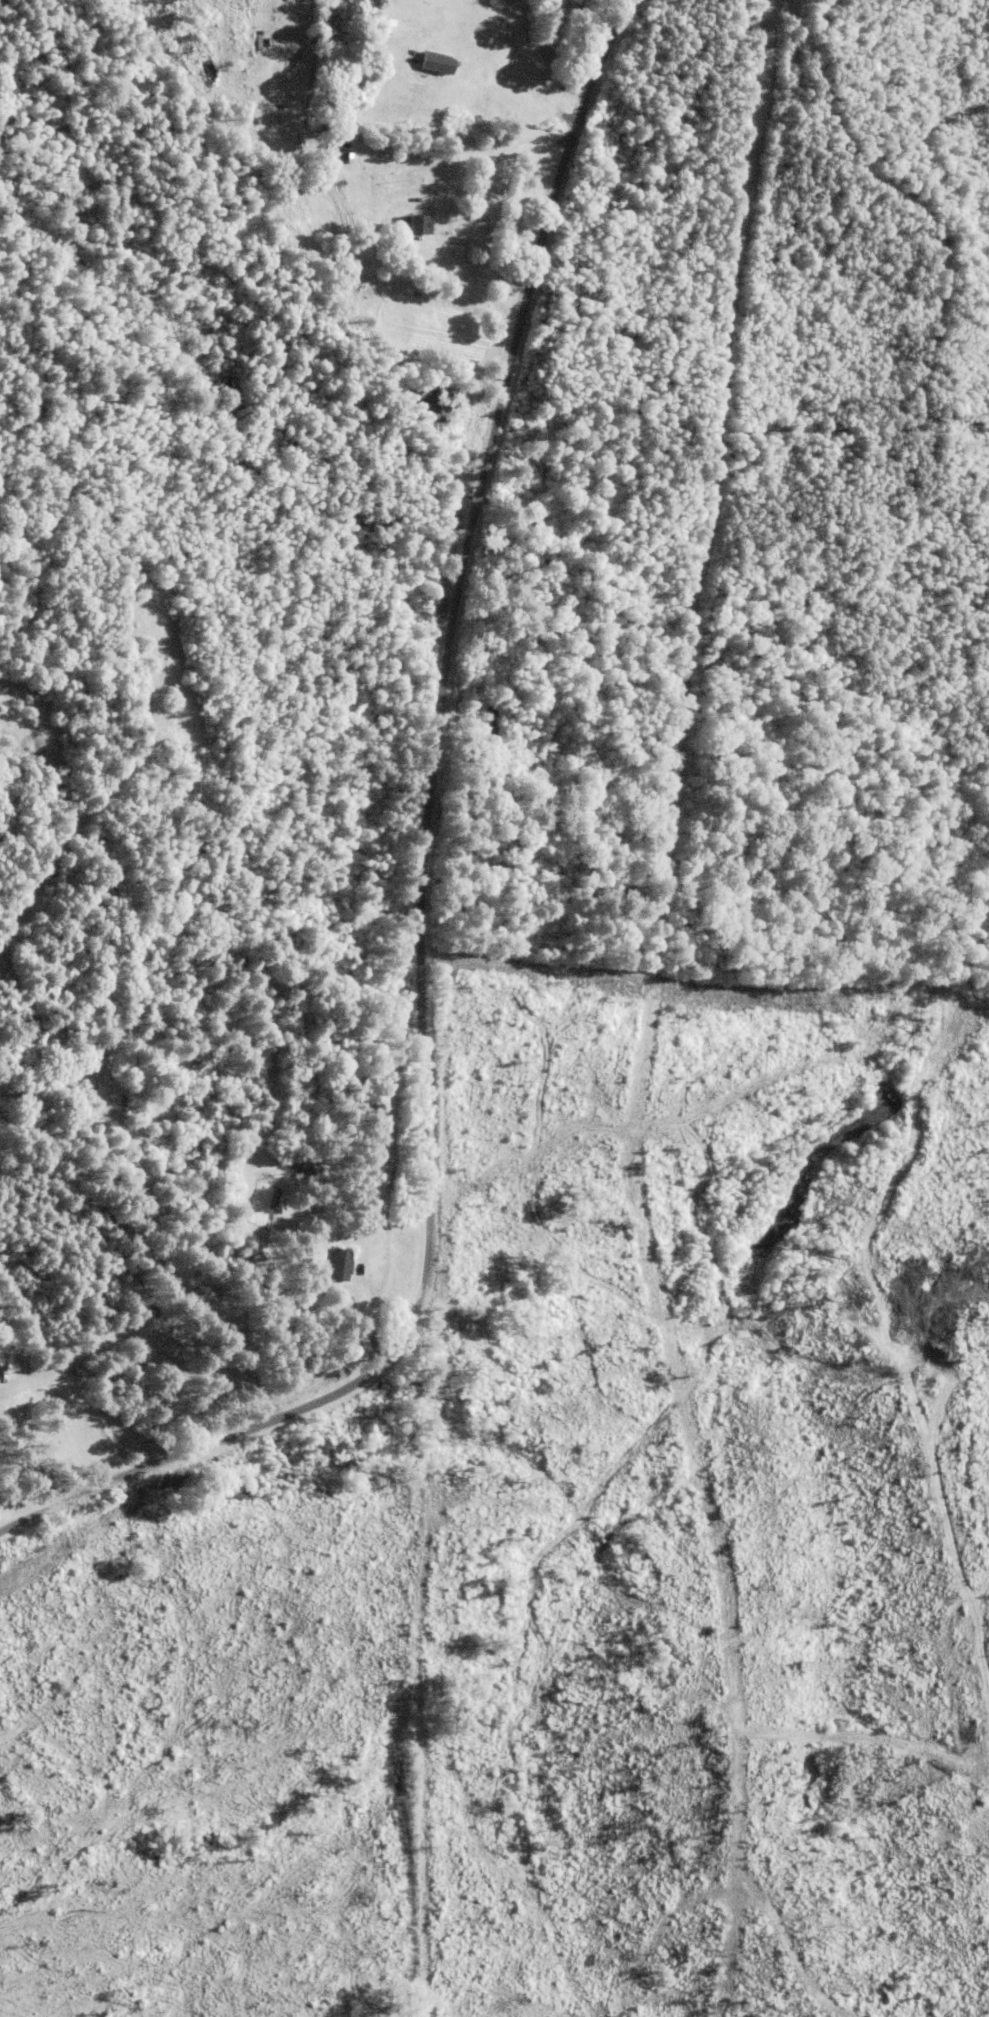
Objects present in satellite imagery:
building: (430, 62)
building: (410, 223)
building: (481, 721)
road: (402, 860)
building: (253, 1173)
building: (306, 1175)
building: (334, 1265)

